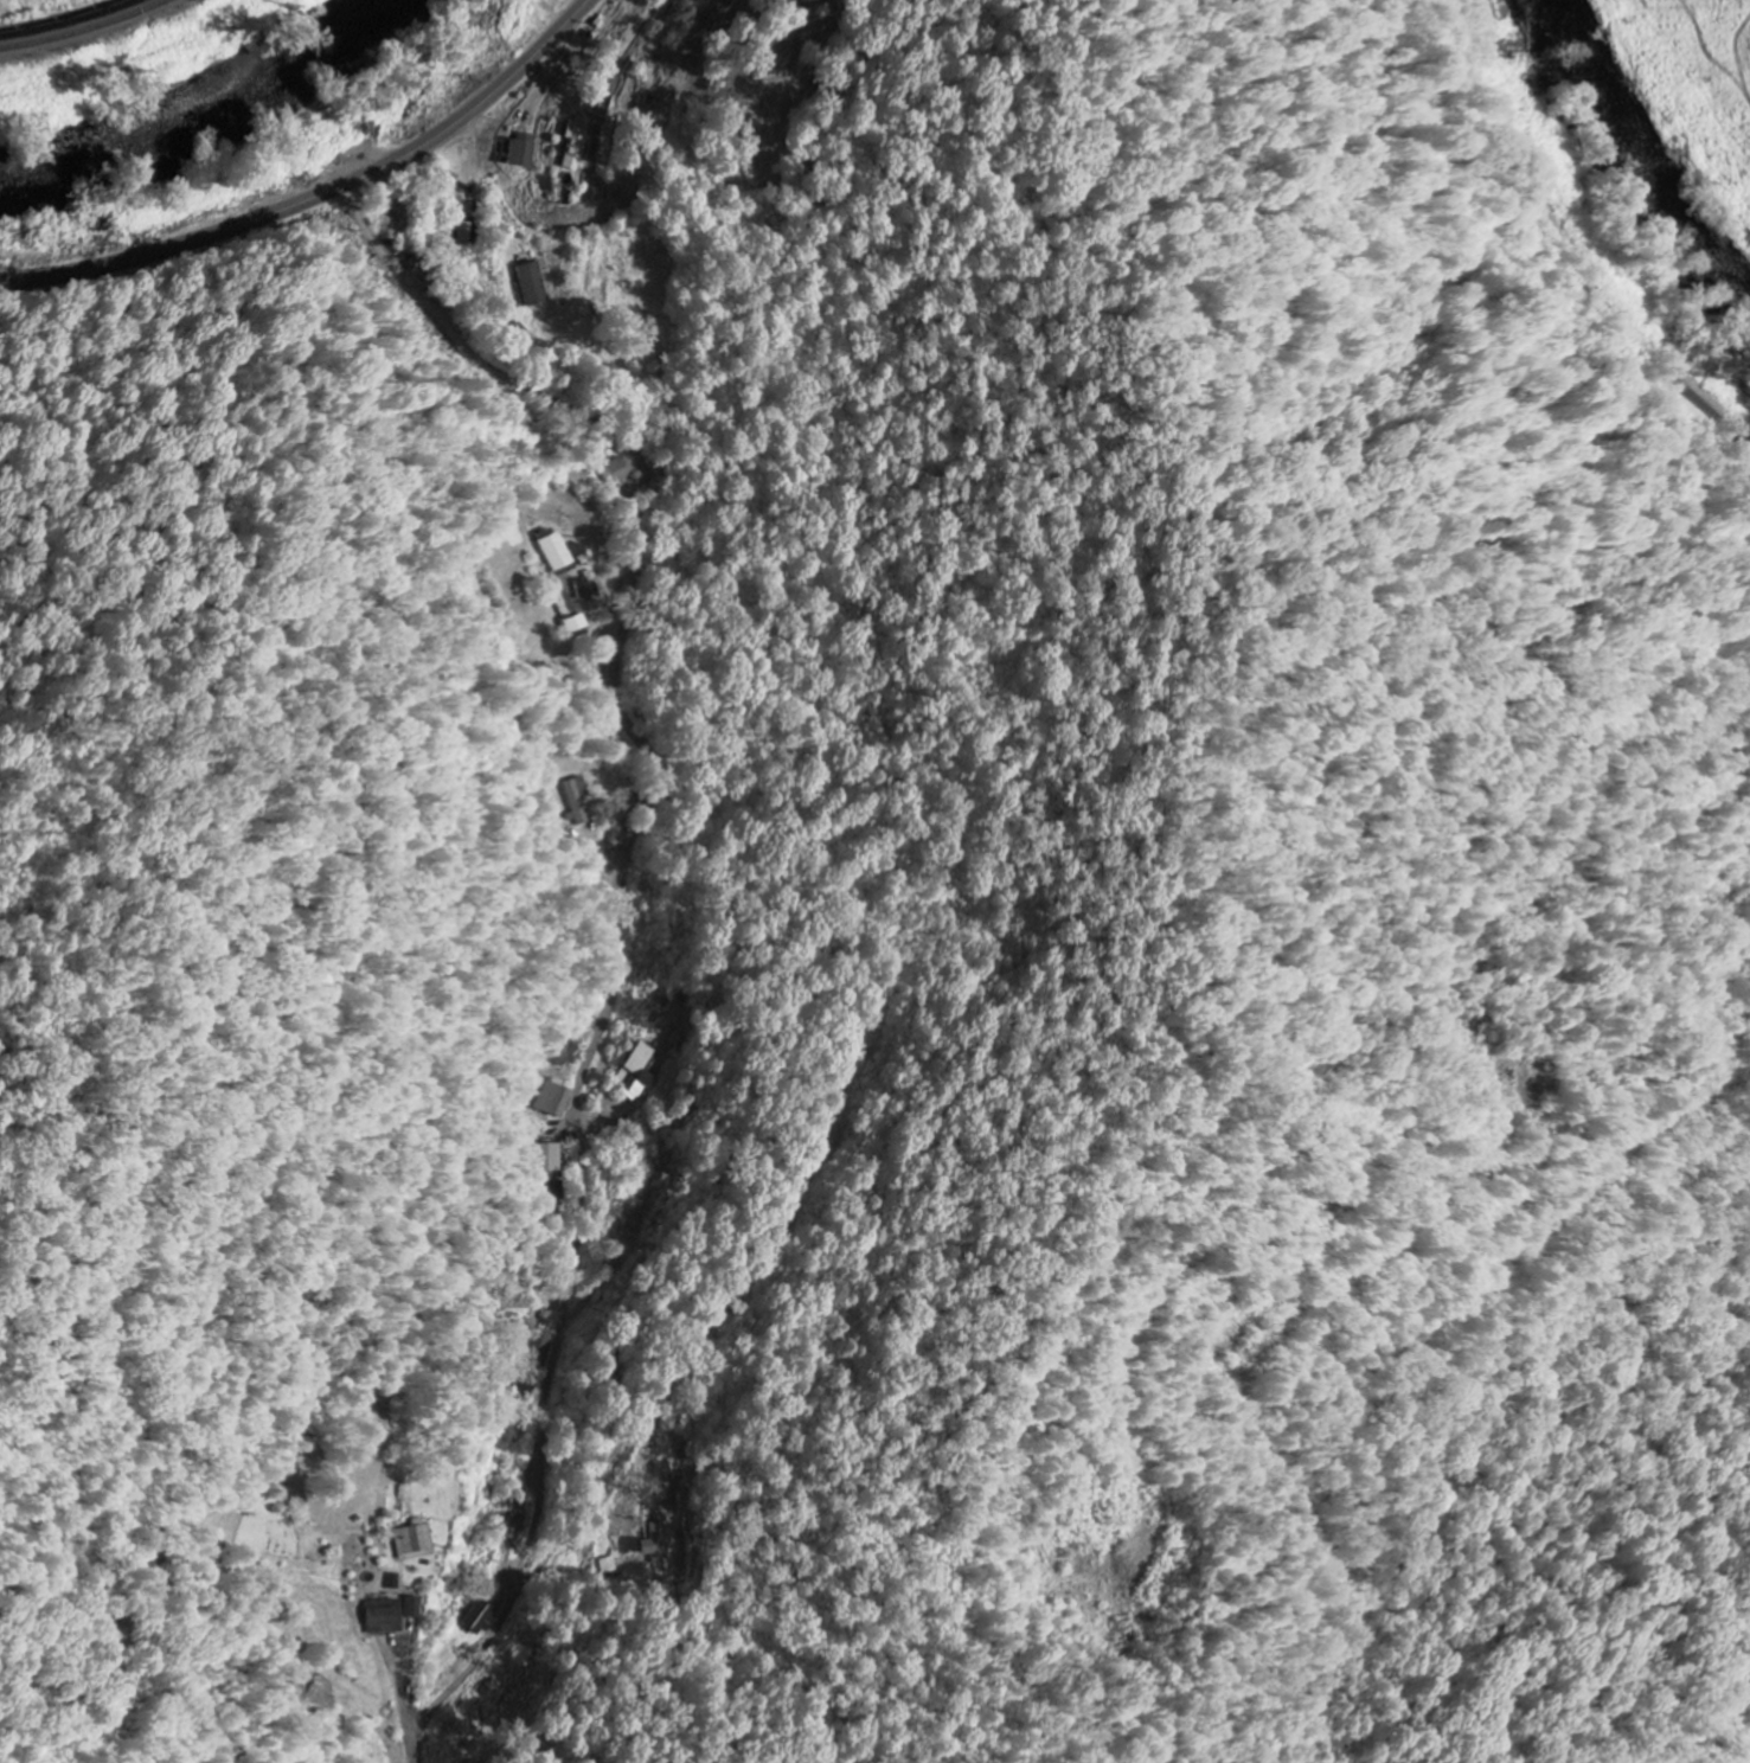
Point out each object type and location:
railway: (70, 23)
railway: (85, 30)
river: (204, 113)
building: (577, 145)
building: (523, 154)
river: (1634, 164)
road: (325, 195)
road: (1559, 249)
building: (532, 284)
building: (556, 553)
building: (576, 801)
road: (615, 915)
building: (634, 1070)
building: (555, 1098)
building: (534, 1123)
road: (668, 1390)
building: (415, 1544)
building: (656, 1544)
building: (414, 1609)
building: (386, 1618)
building: (480, 1620)

